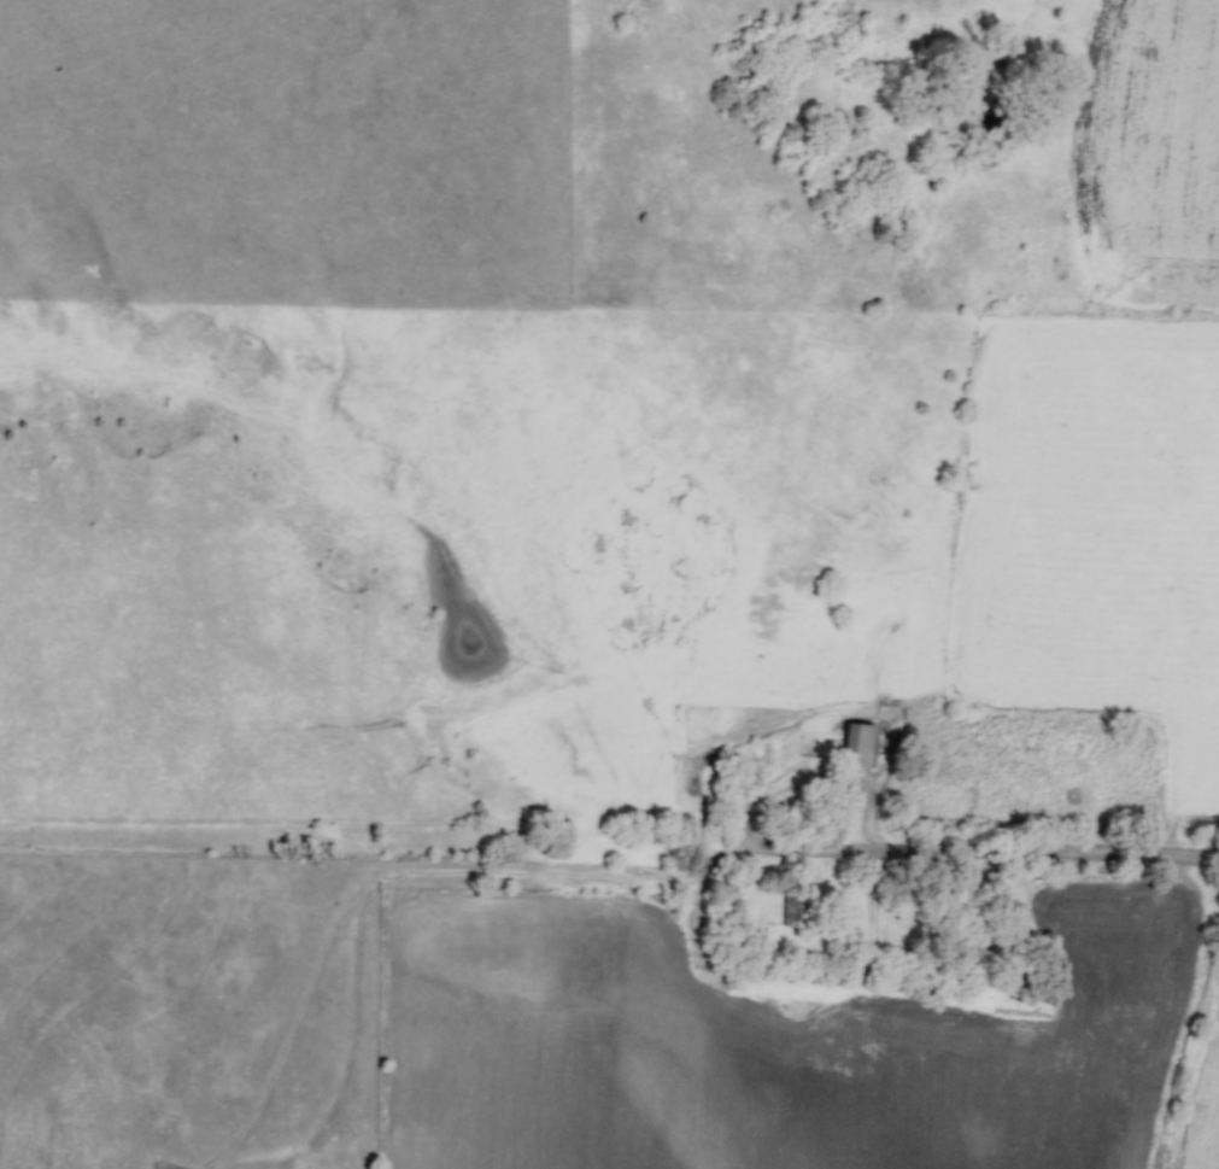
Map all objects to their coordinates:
building: (855, 747)
road: (609, 847)
building: (790, 913)

